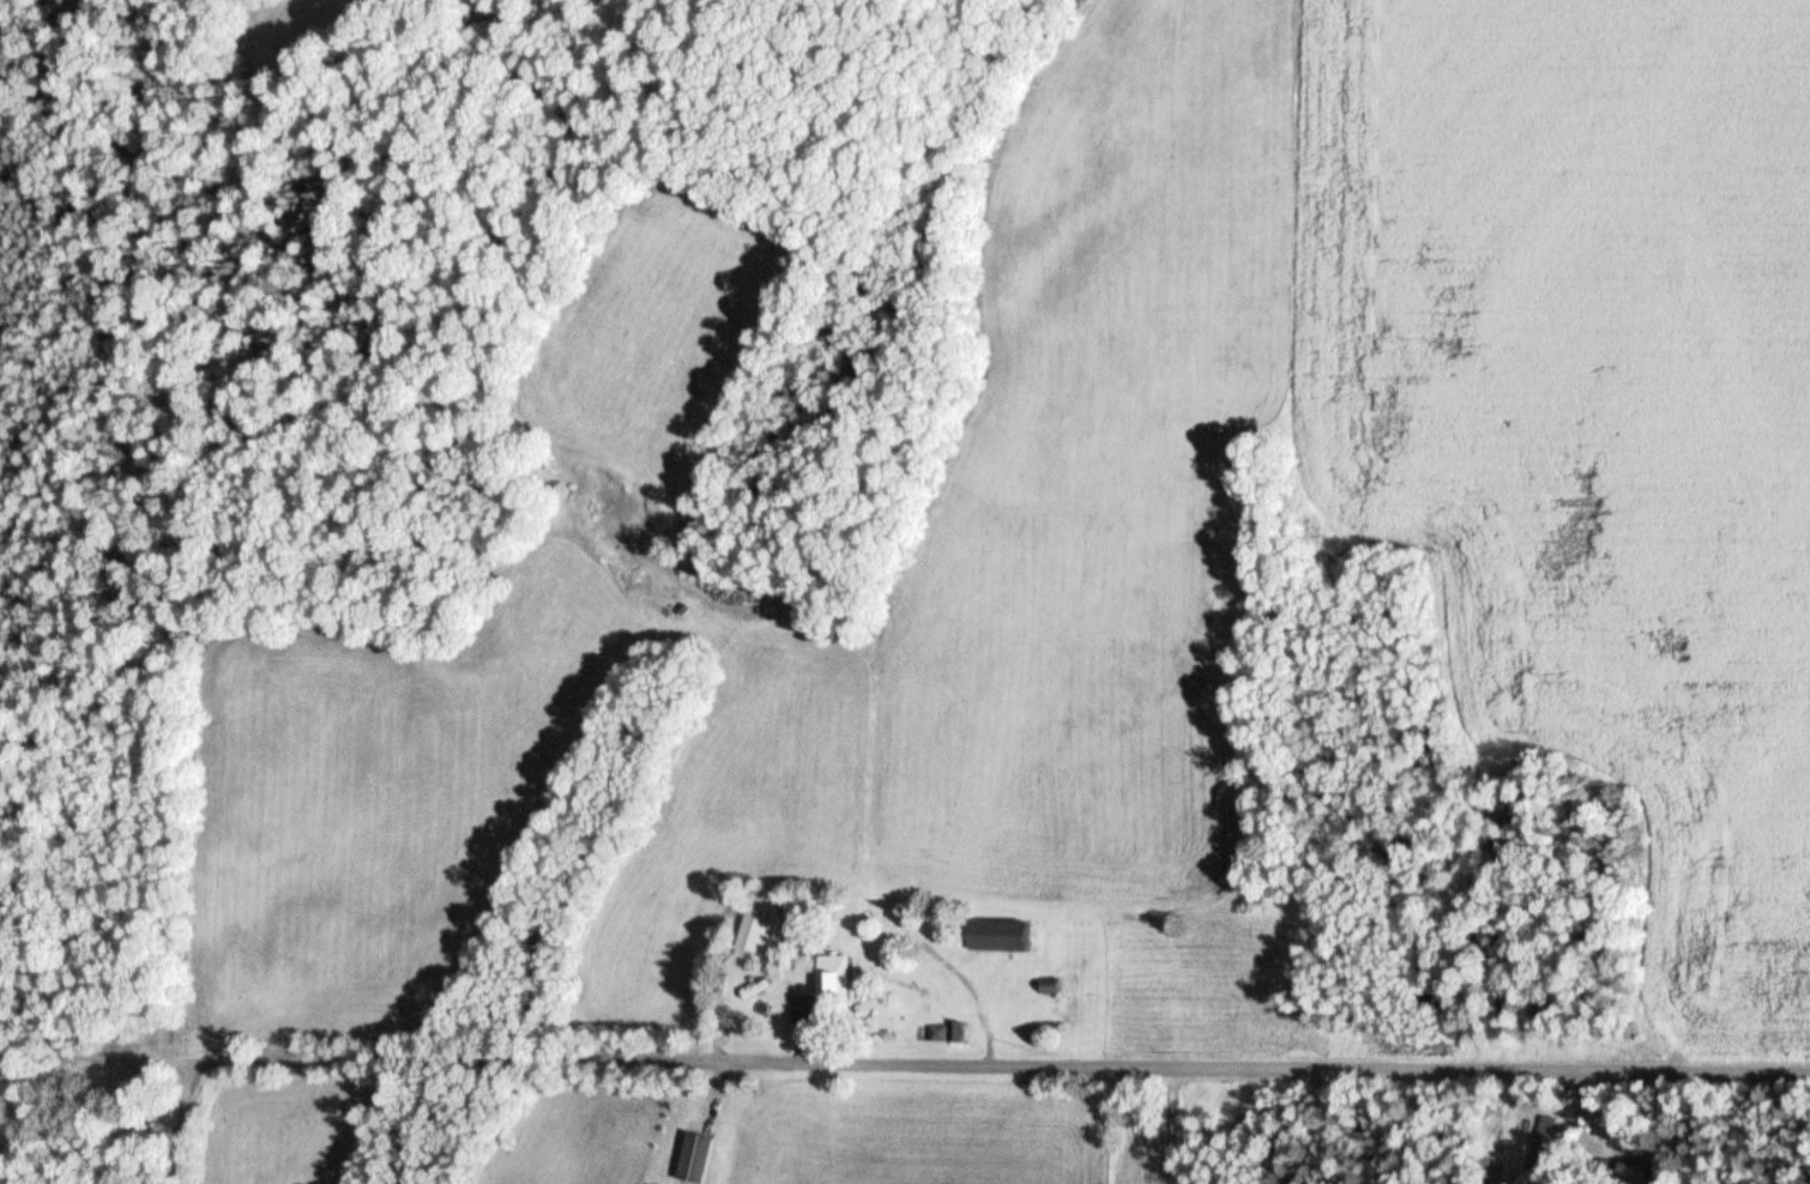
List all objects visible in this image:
building: (802, 911)
building: (756, 937)
building: (1003, 937)
building: (834, 978)
building: (802, 1009)
building: (951, 1033)
road: (1000, 1065)
road: (179, 1124)
building: (1541, 1148)
building: (698, 1159)
building: (1635, 1173)

